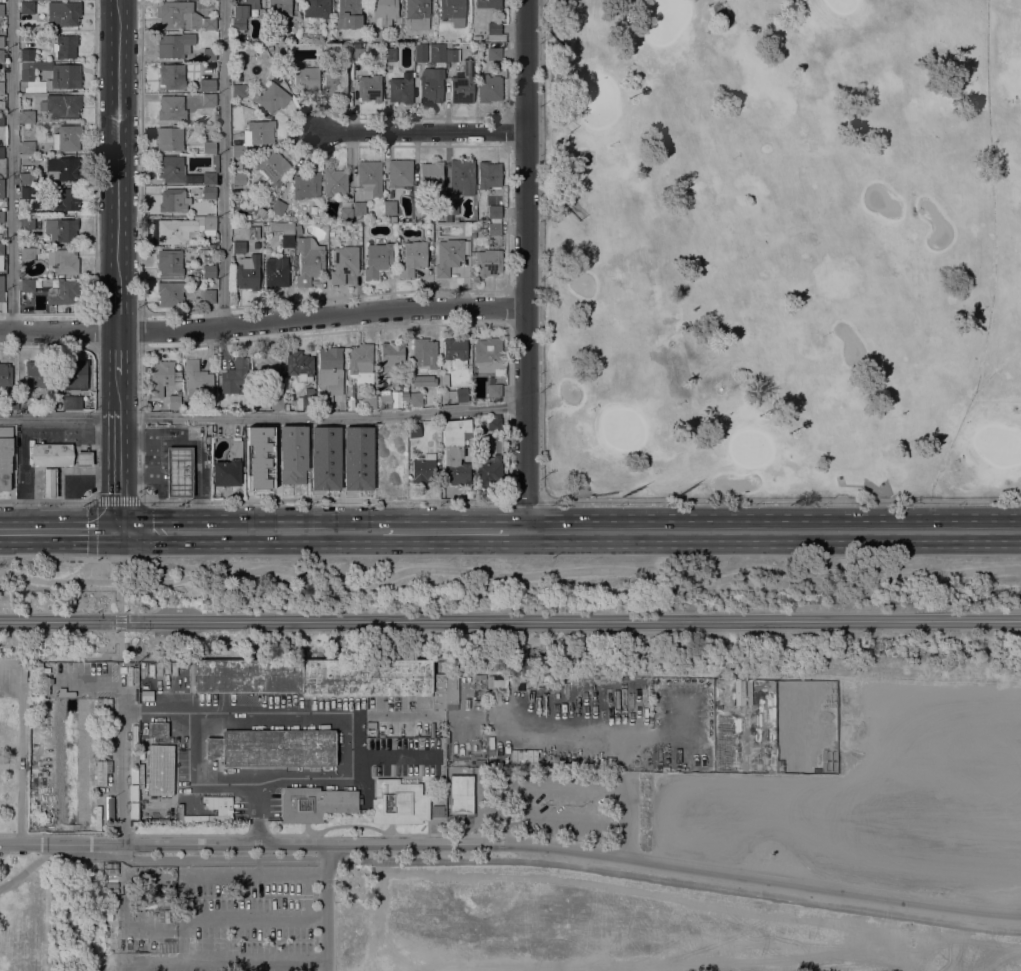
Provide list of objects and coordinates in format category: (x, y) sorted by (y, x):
building: (488, 4)
park: (840, 5)
building: (26, 7)
building: (278, 8)
building: (316, 8)
building: (1, 9)
building: (451, 9)
building: (384, 12)
building: (63, 13)
building: (242, 13)
building: (417, 13)
building: (348, 14)
building: (177, 15)
park: (664, 20)
building: (208, 23)
building: (493, 28)
building: (306, 35)
building: (316, 36)
building: (1, 41)
building: (174, 44)
building: (65, 46)
building: (270, 48)
building: (345, 49)
building: (419, 52)
building: (436, 52)
building: (388, 53)
building: (210, 54)
building: (359, 54)
building: (493, 54)
building: (452, 55)
building: (1, 56)
building: (278, 57)
building: (46, 74)
building: (172, 76)
building: (306, 79)
building: (336, 83)
building: (431, 84)
building: (462, 84)
building: (209, 85)
building: (1, 88)
building: (369, 88)
building: (401, 89)
building: (238, 90)
building: (489, 90)
building: (272, 98)
building: (209, 100)
park: (597, 102)
building: (1, 105)
building: (61, 106)
building: (170, 107)
building: (27, 116)
building: (1, 119)
building: (27, 125)
road: (422, 130)
building: (254, 136)
building: (67, 137)
building: (169, 138)
road: (116, 143)
building: (27, 147)
building: (208, 147)
building: (1, 152)
road: (95, 154)
road: (141, 156)
road: (222, 163)
road: (11, 165)
building: (272, 165)
building: (171, 169)
building: (64, 170)
building: (399, 175)
building: (430, 175)
building: (488, 175)
building: (369, 176)
building: (461, 177)
building: (29, 178)
building: (209, 178)
building: (238, 178)
building: (334, 181)
building: (306, 186)
building: (1, 188)
building: (29, 192)
building: (208, 192)
building: (66, 199)
building: (172, 200)
building: (278, 207)
building: (390, 207)
building: (451, 207)
building: (358, 208)
building: (420, 209)
building: (345, 211)
building: (494, 211)
building: (1, 216)
building: (27, 223)
building: (208, 223)
building: (61, 229)
building: (466, 229)
building: (298, 230)
building: (473, 230)
building: (492, 230)
building: (283, 232)
building: (183, 233)
building: (0, 237)
building: (238, 247)
park: (783, 248)
road: (540, 249)
building: (27, 254)
building: (1, 255)
building: (448, 256)
building: (412, 258)
building: (308, 260)
building: (377, 260)
building: (63, 261)
building: (169, 262)
building: (488, 262)
building: (344, 263)
road: (524, 265)
building: (208, 271)
building: (247, 272)
building: (276, 272)
building: (46, 282)
building: (27, 286)
building: (63, 292)
building: (170, 293)
building: (2, 294)
building: (208, 296)
road: (117, 308)
road: (262, 322)
road: (408, 324)
road: (95, 329)
road: (140, 329)
building: (425, 351)
road: (117, 352)
building: (455, 353)
building: (489, 356)
building: (391, 357)
building: (360, 358)
building: (177, 365)
building: (267, 365)
building: (299, 365)
building: (5, 374)
building: (35, 374)
building: (73, 374)
building: (329, 375)
building: (160, 377)
building: (235, 377)
building: (197, 379)
building: (422, 380)
road: (117, 388)
building: (494, 390)
building: (461, 395)
building: (276, 397)
building: (308, 399)
building: (415, 399)
building: (384, 400)
building: (11, 401)
building: (71, 401)
building: (368, 401)
building: (48, 402)
building: (174, 402)
road: (262, 417)
road: (95, 424)
building: (410, 430)
park: (623, 430)
building: (381, 432)
park: (997, 447)
park: (748, 449)
building: (455, 450)
building: (292, 454)
building: (51, 455)
building: (5, 456)
building: (259, 458)
building: (323, 458)
building: (356, 458)
building: (83, 459)
road: (118, 465)
building: (228, 467)
building: (423, 468)
building: (179, 472)
building: (488, 472)
road: (23, 473)
building: (391, 474)
building: (48, 482)
road: (524, 499)
road: (781, 499)
road: (46, 501)
road: (248, 501)
road: (92, 518)
road: (58, 529)
traffic signals: (118, 529)
road: (249, 530)
road: (452, 530)
road: (772, 530)
road: (509, 575)
road: (18, 658)
road: (3, 659)
building: (330, 678)
road: (191, 713)
road: (395, 714)
building: (157, 730)
road: (567, 732)
building: (272, 748)
road: (392, 756)
park: (510, 763)
building: (99, 766)
building: (160, 770)
road: (247, 779)
building: (461, 794)
building: (398, 803)
building: (314, 804)
parking lot: (563, 806)
building: (105, 808)
road: (256, 810)
road: (619, 812)
park: (21, 832)
road: (10, 833)
road: (162, 843)
road: (472, 843)
road: (531, 862)
road: (27, 867)
road: (252, 875)
road: (820, 886)
road: (325, 907)
road: (252, 917)
parking lot: (249, 920)
road: (221, 960)

